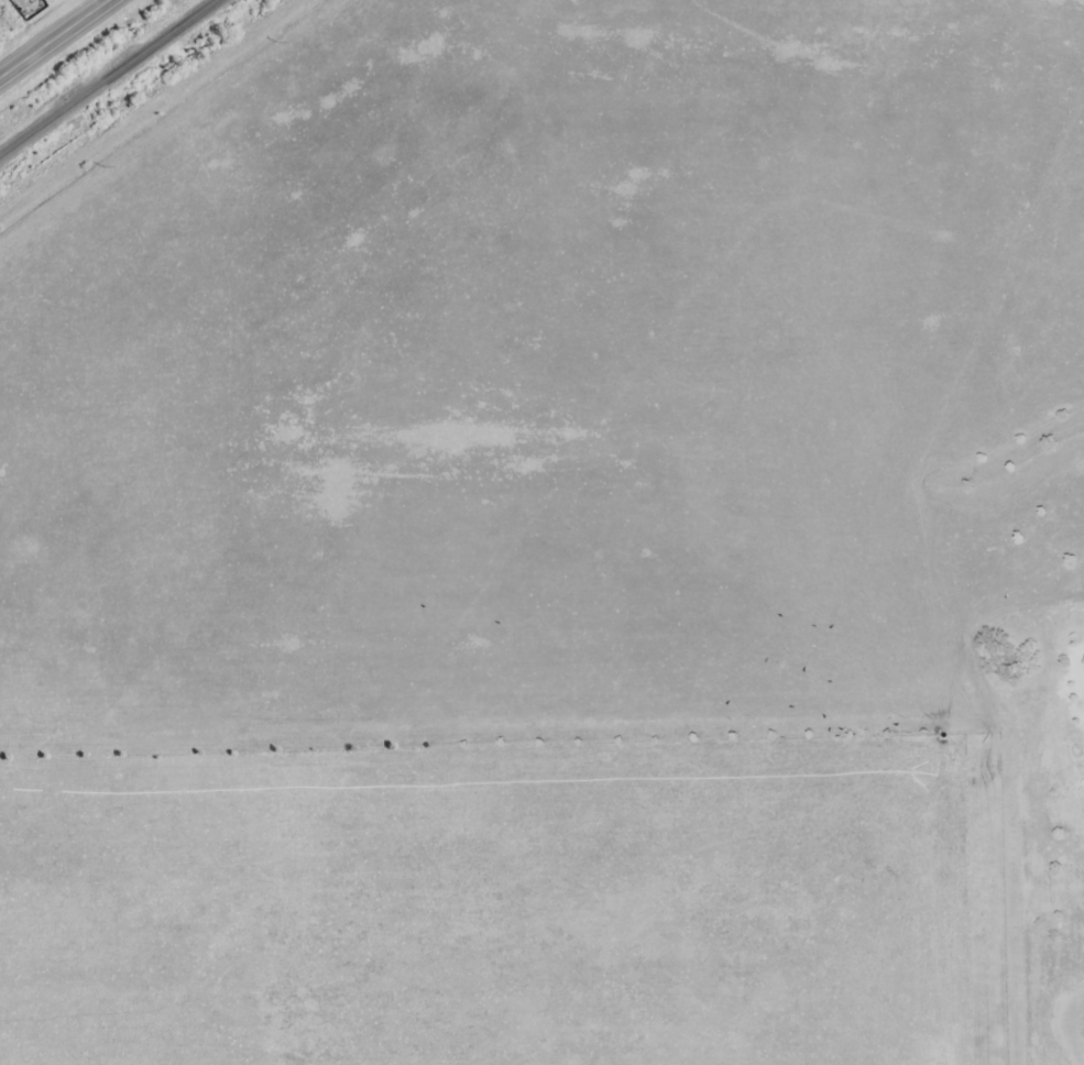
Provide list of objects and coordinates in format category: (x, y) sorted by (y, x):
road: (59, 42)
railway: (105, 75)
building: (1082, 661)

